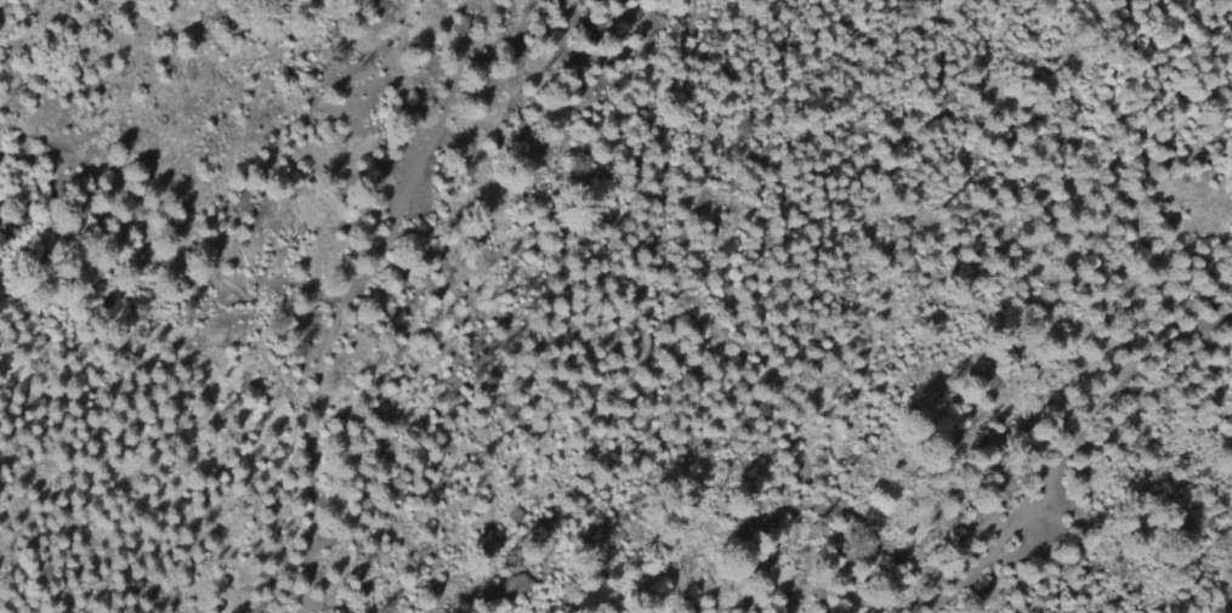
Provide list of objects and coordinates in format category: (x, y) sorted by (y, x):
road: (305, 303)
road: (1139, 421)
road: (987, 551)

